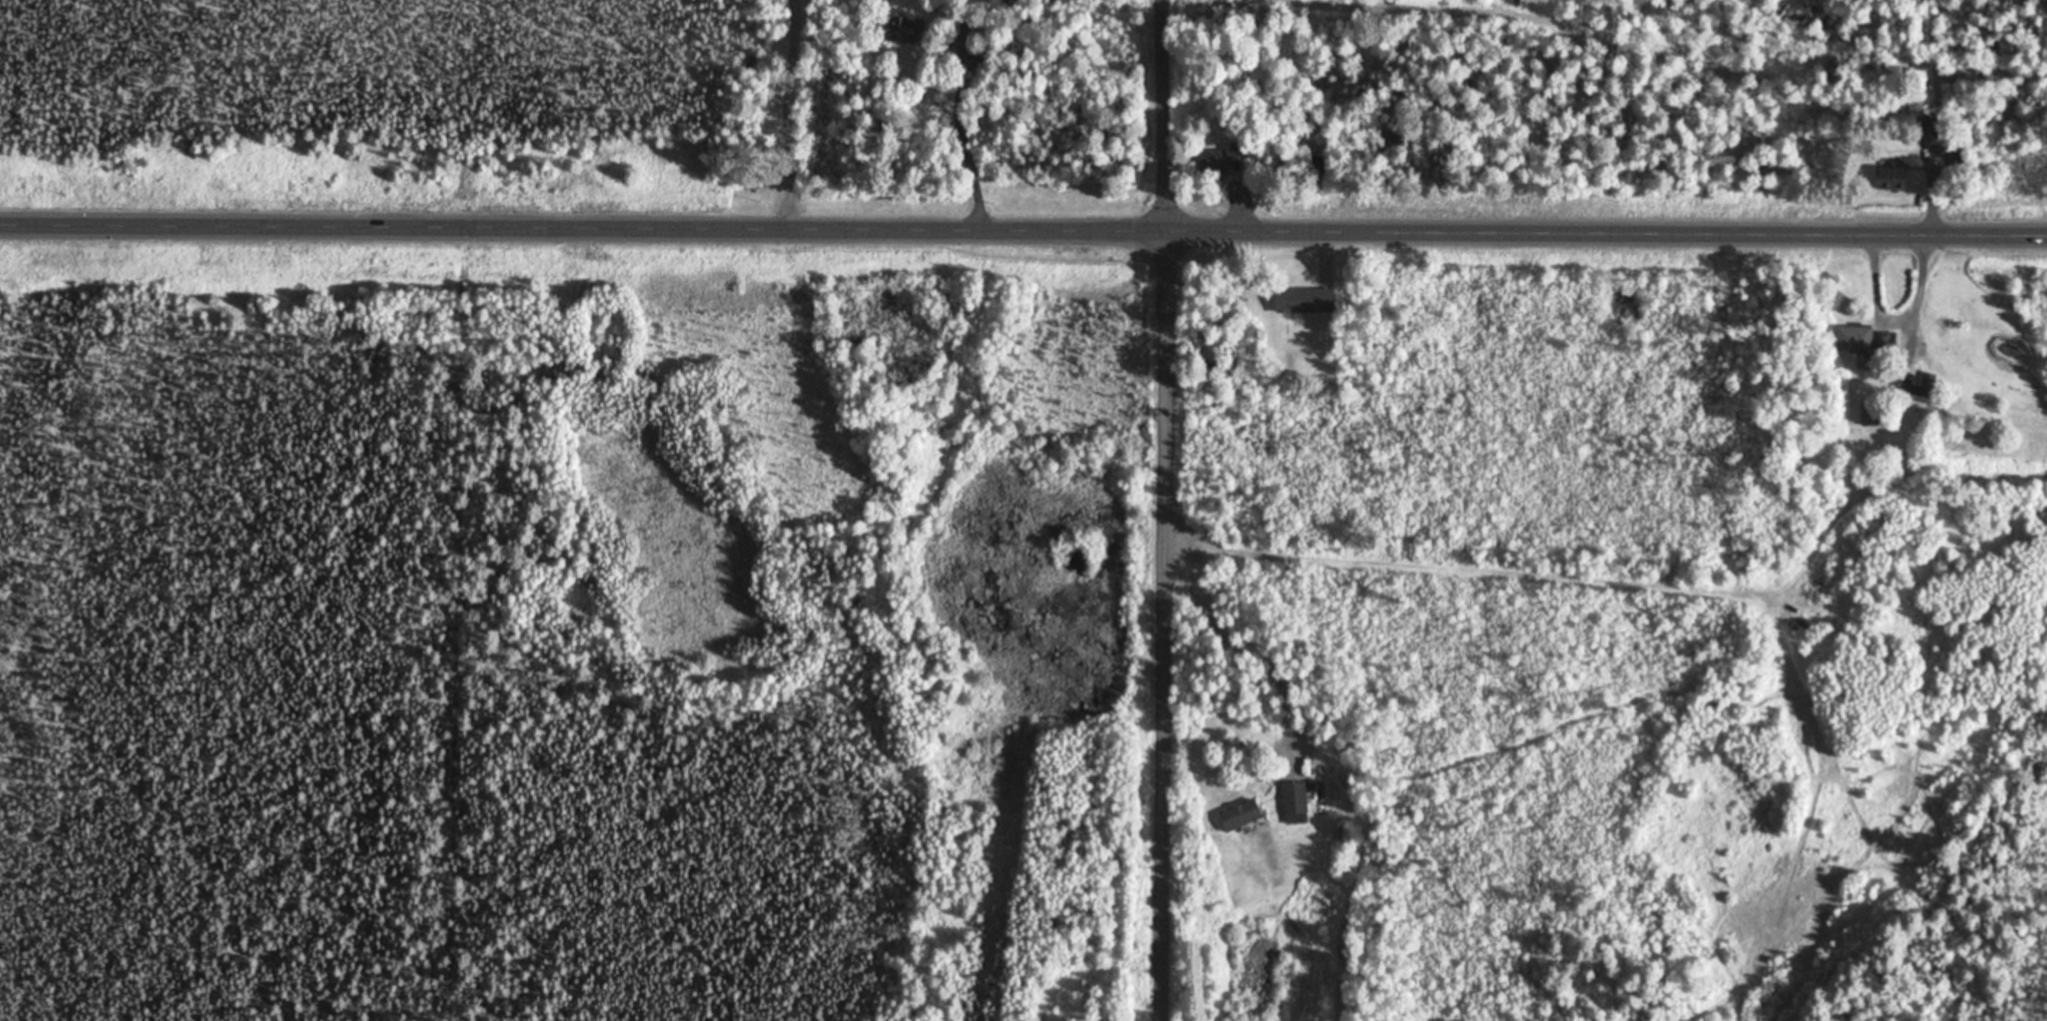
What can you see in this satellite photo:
building: (900, 29)
building: (966, 30)
road: (1167, 112)
building: (1928, 130)
building: (1220, 159)
building: (1891, 178)
road: (1023, 223)
building: (1304, 300)
building: (1855, 339)
building: (1919, 387)
building: (1871, 414)
road: (1168, 622)
building: (1295, 803)
building: (1240, 816)

